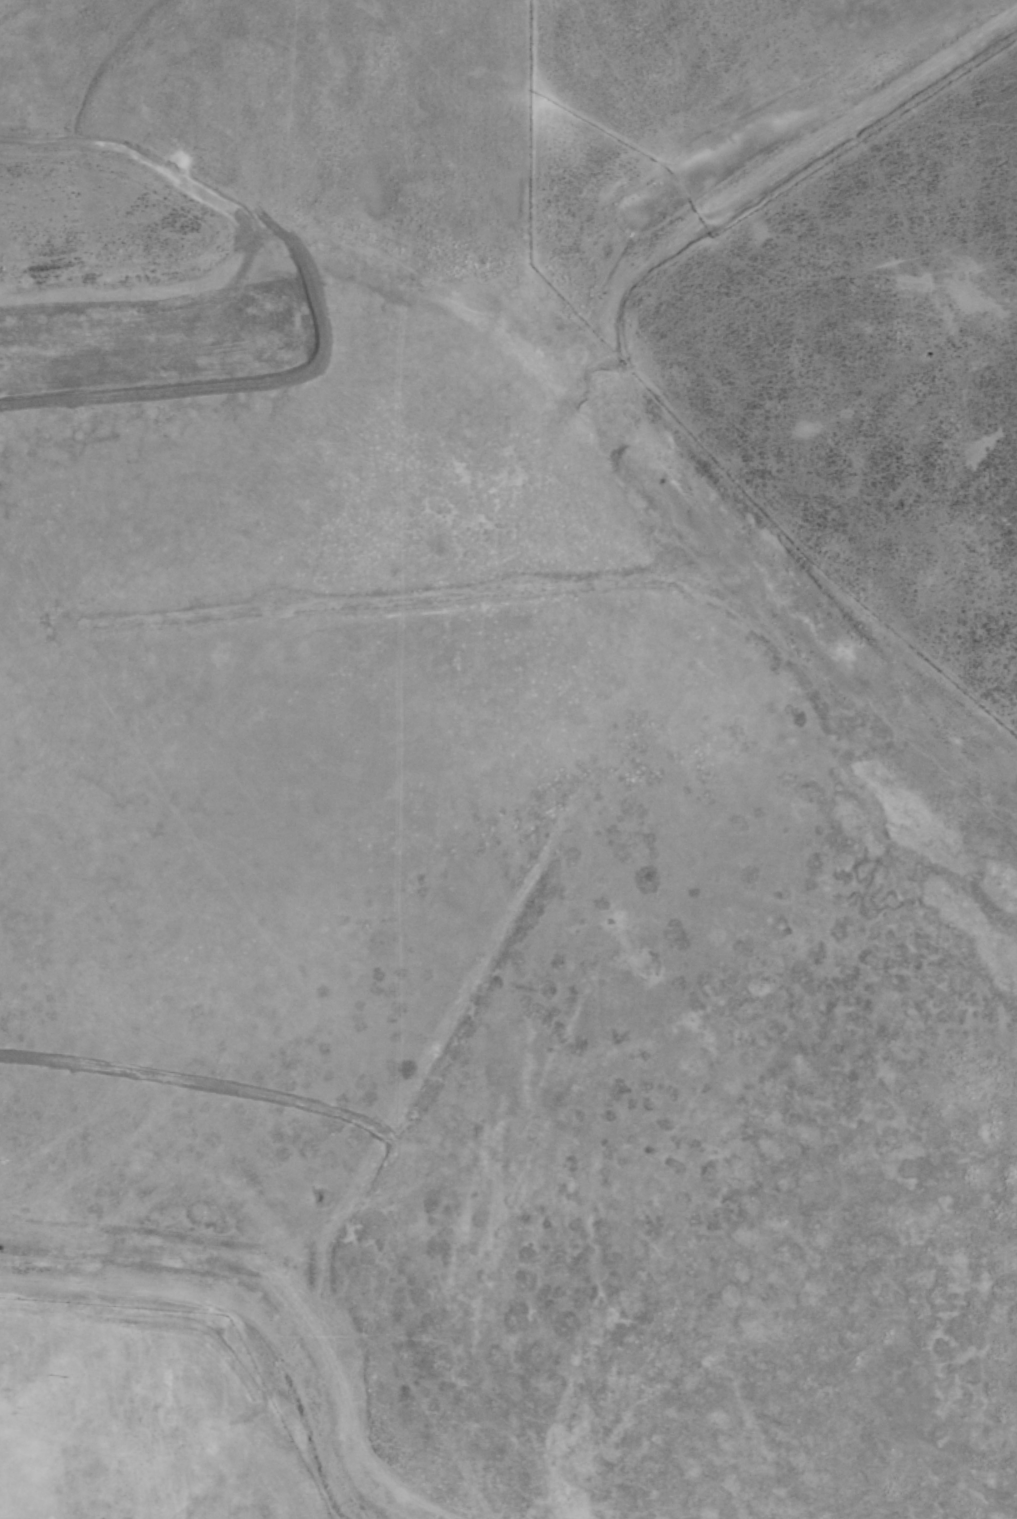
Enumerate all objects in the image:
crop: (622, 802)

